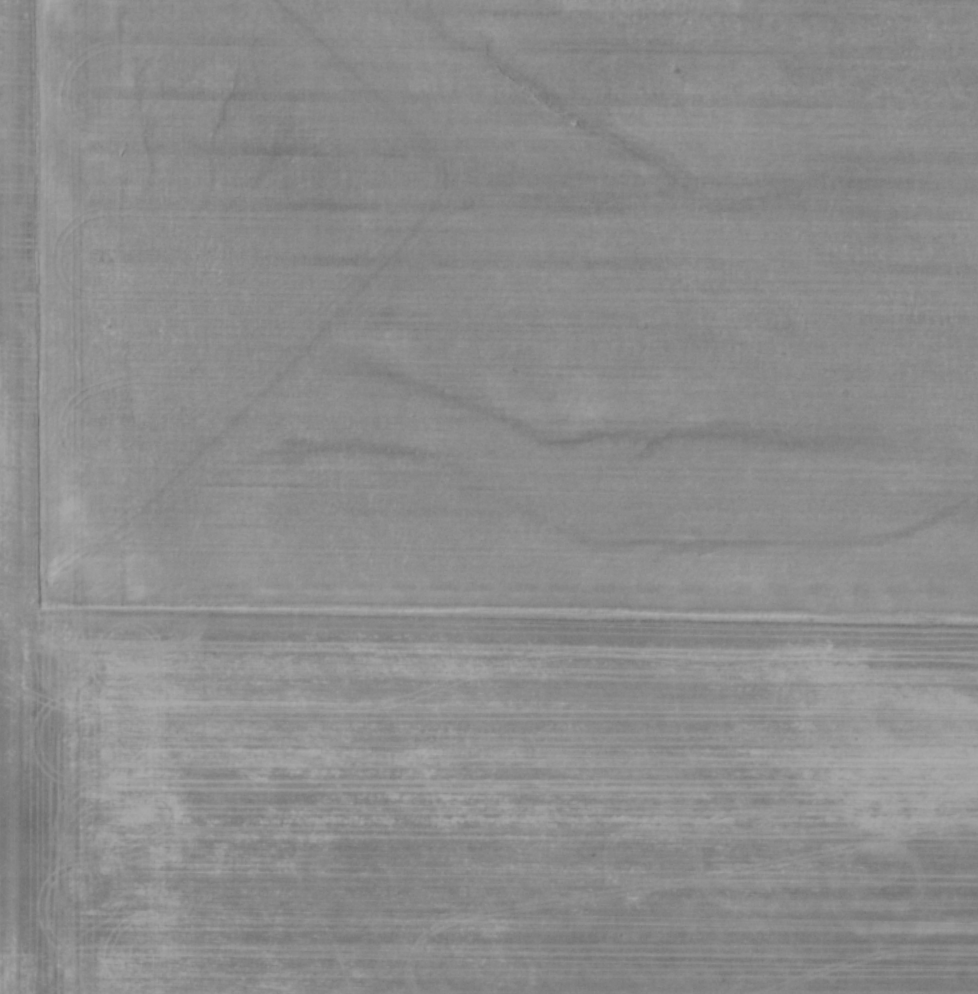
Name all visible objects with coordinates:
crop: (489, 497)

